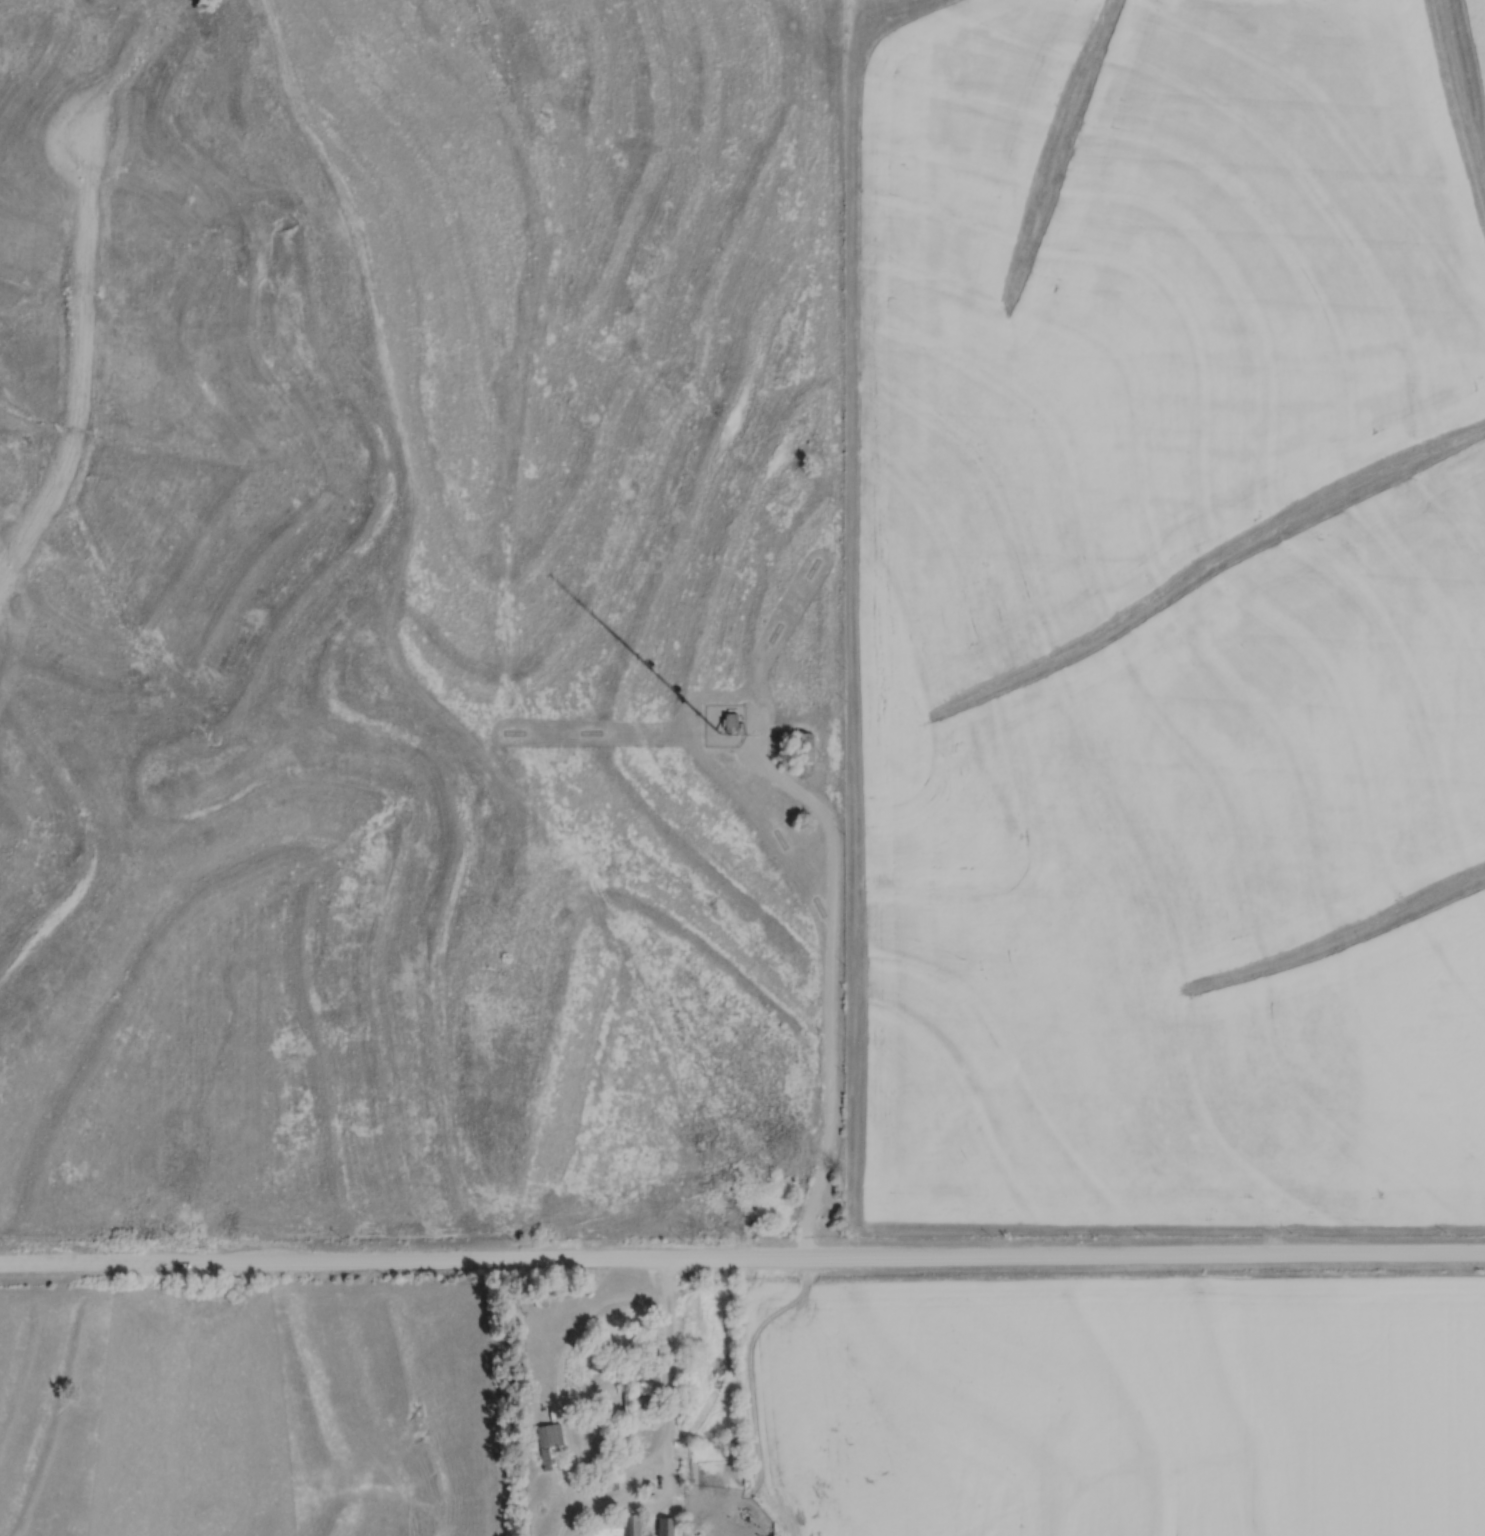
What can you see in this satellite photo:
building: (730, 720)
building: (802, 745)
road: (832, 987)
road: (742, 1263)
road: (671, 1367)
building: (553, 1438)
building: (612, 1526)
building: (664, 1526)

